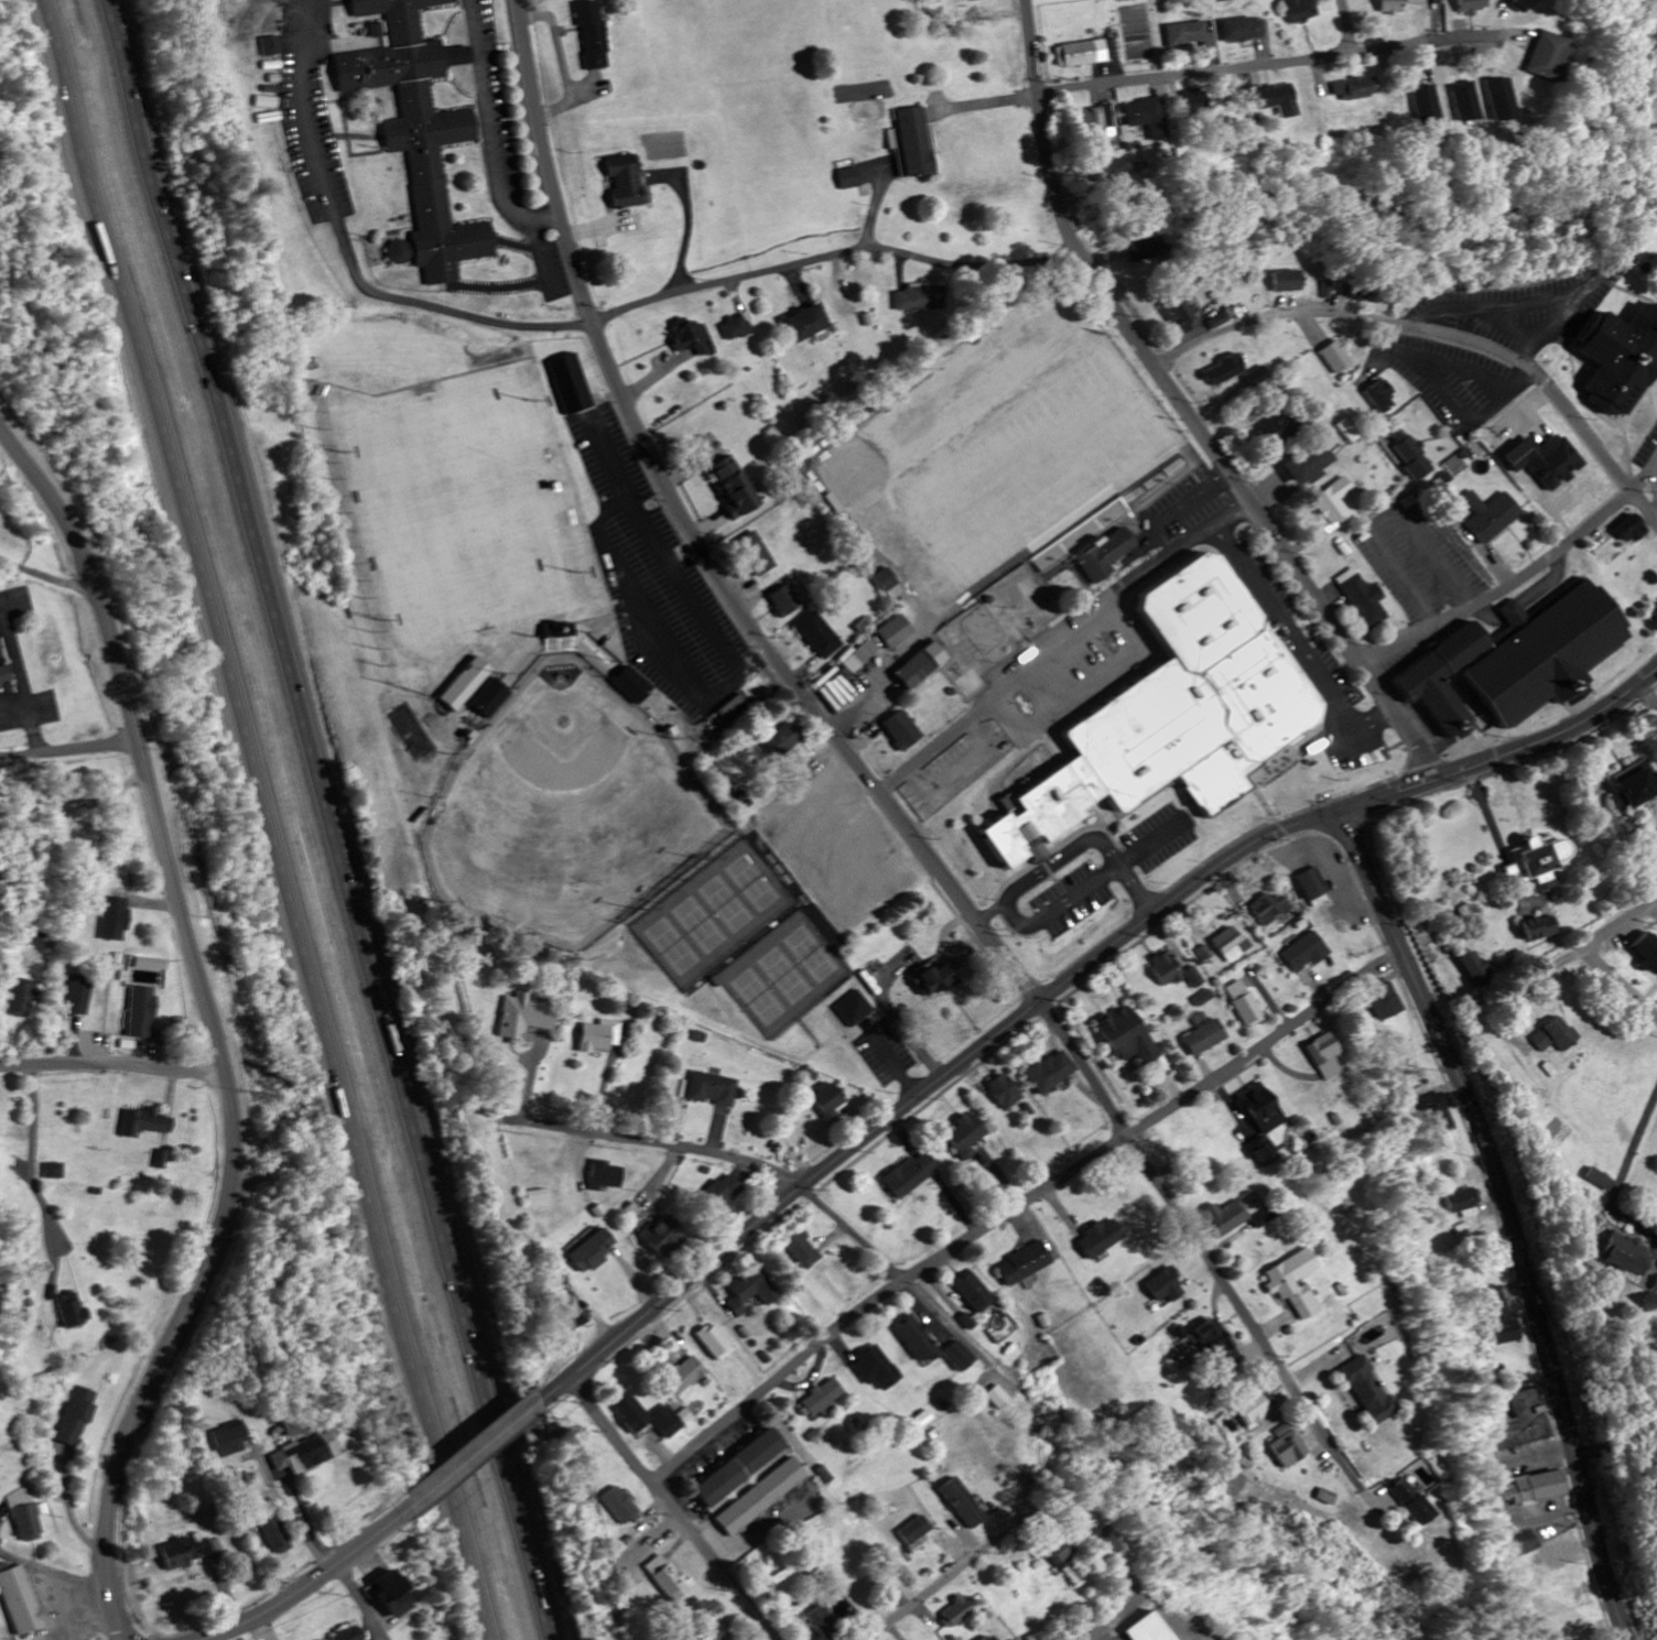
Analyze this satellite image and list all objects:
building: (974, 0)
building: (1221, 0)
building: (1399, 6)
building: (1473, 7)
building: (1301, 10)
road: (1349, 26)
building: (1244, 29)
building: (593, 34)
building: (1188, 34)
road: (1423, 44)
building: (274, 45)
building: (1082, 54)
building: (1545, 56)
road: (1196, 73)
building: (1357, 88)
building: (1278, 99)
building: (1498, 100)
building: (1194, 101)
building: (1426, 101)
building: (270, 102)
road: (993, 102)
building: (1464, 102)
building: (1148, 117)
building: (1097, 119)
building: (421, 133)
building: (914, 142)
building: (852, 178)
building: (626, 182)
building: (1149, 249)
road: (835, 256)
road: (351, 259)
building: (1286, 281)
building: (1325, 291)
building: (1362, 292)
building: (923, 298)
parking lot: (1520, 311)
building: (1180, 314)
road: (1490, 321)
building: (1219, 322)
building: (810, 323)
building: (739, 327)
road: (1441, 332)
building: (696, 338)
building: (1336, 358)
building: (1620, 358)
building: (1224, 371)
building: (1257, 378)
building: (1380, 397)
road: (1190, 409)
building: (1281, 426)
building: (1347, 432)
building: (1410, 455)
building: (1544, 460)
building: (1310, 465)
park: (1036, 466)
building: (1431, 484)
building: (735, 488)
building: (1335, 502)
park: (462, 506)
building: (1490, 515)
building: (1632, 529)
road: (697, 542)
building: (759, 554)
building: (1107, 555)
parking lot: (1421, 564)
road: (45, 577)
road: (1525, 579)
building: (890, 585)
road: (1115, 595)
building: (1366, 599)
building: (787, 601)
road: (1270, 609)
building: (1655, 613)
building: (896, 631)
building: (821, 636)
building: (561, 638)
building: (863, 655)
building: (1515, 661)
building: (921, 666)
parking lot: (15, 673)
building: (4, 675)
road: (17, 685)
building: (467, 685)
building: (635, 685)
building: (494, 698)
road: (10, 705)
building: (1176, 715)
building: (902, 730)
building: (784, 740)
road: (942, 740)
road: (68, 750)
road: (1508, 758)
building: (1634, 788)
park: (571, 814)
road: (278, 819)
road: (325, 819)
road: (1070, 850)
building: (1539, 862)
road: (1071, 893)
building: (1267, 909)
road: (1010, 914)
building: (115, 920)
building: (1541, 928)
building: (1232, 945)
building: (1648, 948)
building: (1306, 953)
road: (1598, 954)
park: (769, 962)
building: (152, 965)
road: (1560, 965)
building: (1169, 969)
building: (1479, 970)
building: (1195, 978)
building: (939, 981)
building: (77, 997)
building: (21, 998)
building: (1385, 999)
building: (1244, 1004)
building: (856, 1009)
building: (143, 1012)
building: (526, 1017)
road: (212, 1025)
building: (1556, 1036)
building: (603, 1038)
building: (1129, 1038)
building: (1205, 1039)
building: (1325, 1056)
road: (112, 1064)
road: (1086, 1068)
building: (1053, 1073)
building: (716, 1089)
road: (930, 1089)
building: (1006, 1093)
building: (830, 1100)
building: (1263, 1109)
building: (1439, 1114)
building: (147, 1123)
building: (967, 1137)
road: (660, 1143)
road: (1631, 1145)
building: (1265, 1152)
building: (163, 1159)
building: (56, 1172)
building: (607, 1176)
building: (910, 1177)
building: (1598, 1180)
building: (726, 1192)
building: (537, 1197)
building: (1461, 1201)
road: (1018, 1207)
road: (1509, 1217)
building: (1228, 1219)
building: (1265, 1219)
road: (853, 1235)
building: (664, 1237)
building: (1102, 1239)
building: (803, 1250)
building: (589, 1251)
building: (1623, 1255)
building: (1025, 1264)
building: (1295, 1284)
building: (1166, 1286)
building: (752, 1292)
building: (973, 1293)
building: (571, 1310)
building: (73, 1312)
road: (1244, 1315)
building: (1499, 1317)
road: (945, 1323)
building: (1178, 1333)
building: (919, 1342)
building: (716, 1344)
building: (1216, 1345)
building: (960, 1357)
building: (877, 1369)
building: (685, 1376)
building: (1367, 1390)
building: (998, 1398)
building: (825, 1399)
building: (631, 1412)
building: (1250, 1412)
building: (76, 1416)
building: (672, 1421)
building: (1519, 1423)
building: (230, 1437)
building: (1285, 1447)
building: (303, 1454)
road: (473, 1454)
building: (740, 1467)
building: (827, 1475)
building: (1540, 1488)
building: (763, 1497)
building: (1322, 1498)
building: (964, 1502)
building: (1410, 1503)
building: (619, 1505)
road: (670, 1509)
building: (28, 1523)
building: (917, 1530)
building: (275, 1533)
building: (1107, 1541)
building: (1521, 1544)
building: (188, 1551)
building: (1065, 1558)
road: (949, 1576)
building: (668, 1578)
road: (312, 1581)
building: (391, 1594)
road: (360, 1600)
building: (22, 1601)
building: (957, 1612)
building: (823, 1623)
building: (1150, 1628)
building: (713, 1632)
building: (348, 1633)
building: (989, 1637)

